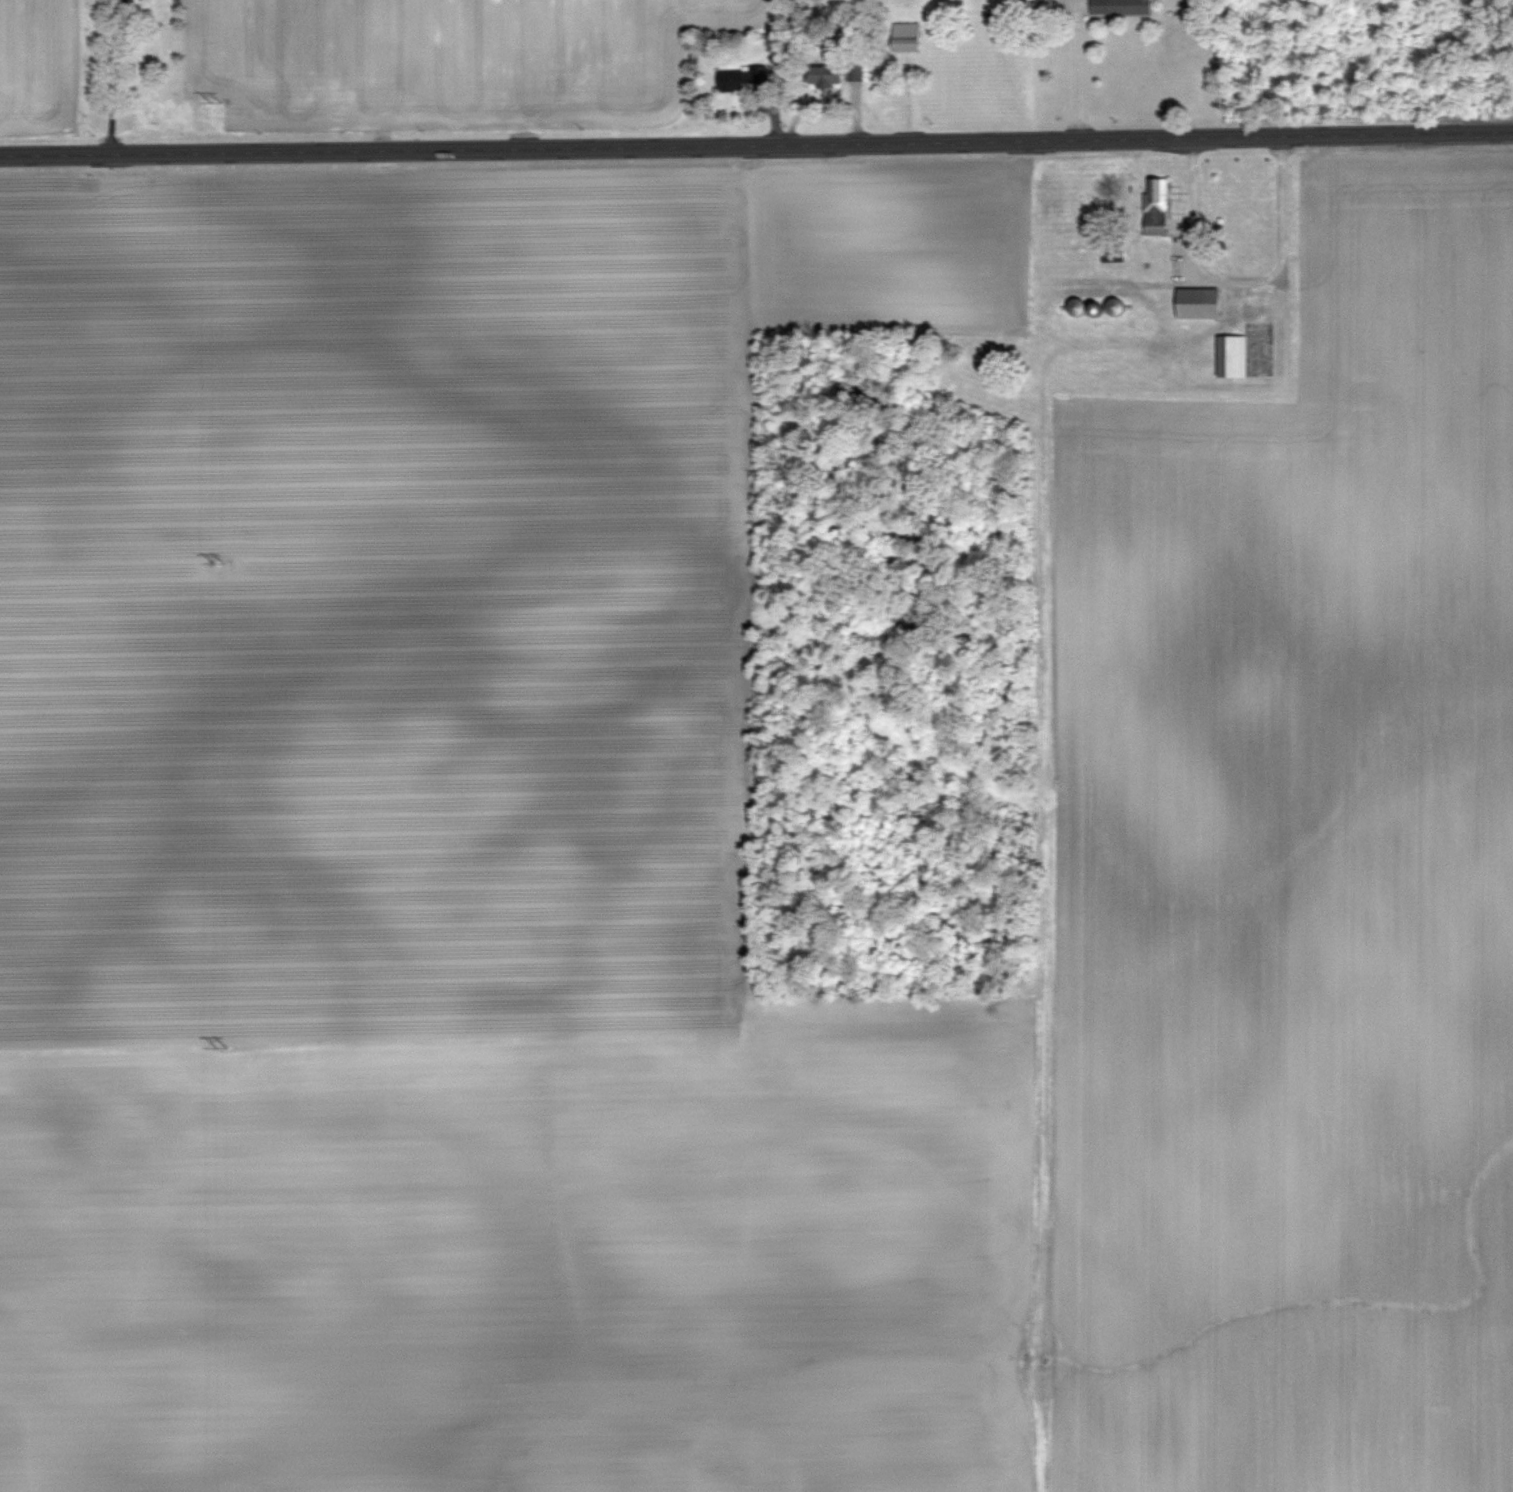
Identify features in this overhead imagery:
building: (1120, 7)
building: (905, 37)
building: (826, 74)
building: (756, 75)
road: (115, 76)
building: (731, 80)
road: (1077, 83)
road: (756, 143)
building: (1156, 205)
building: (1113, 255)
road: (1239, 287)
building: (1198, 303)
building: (1077, 306)
building: (1115, 306)
building: (1232, 355)

